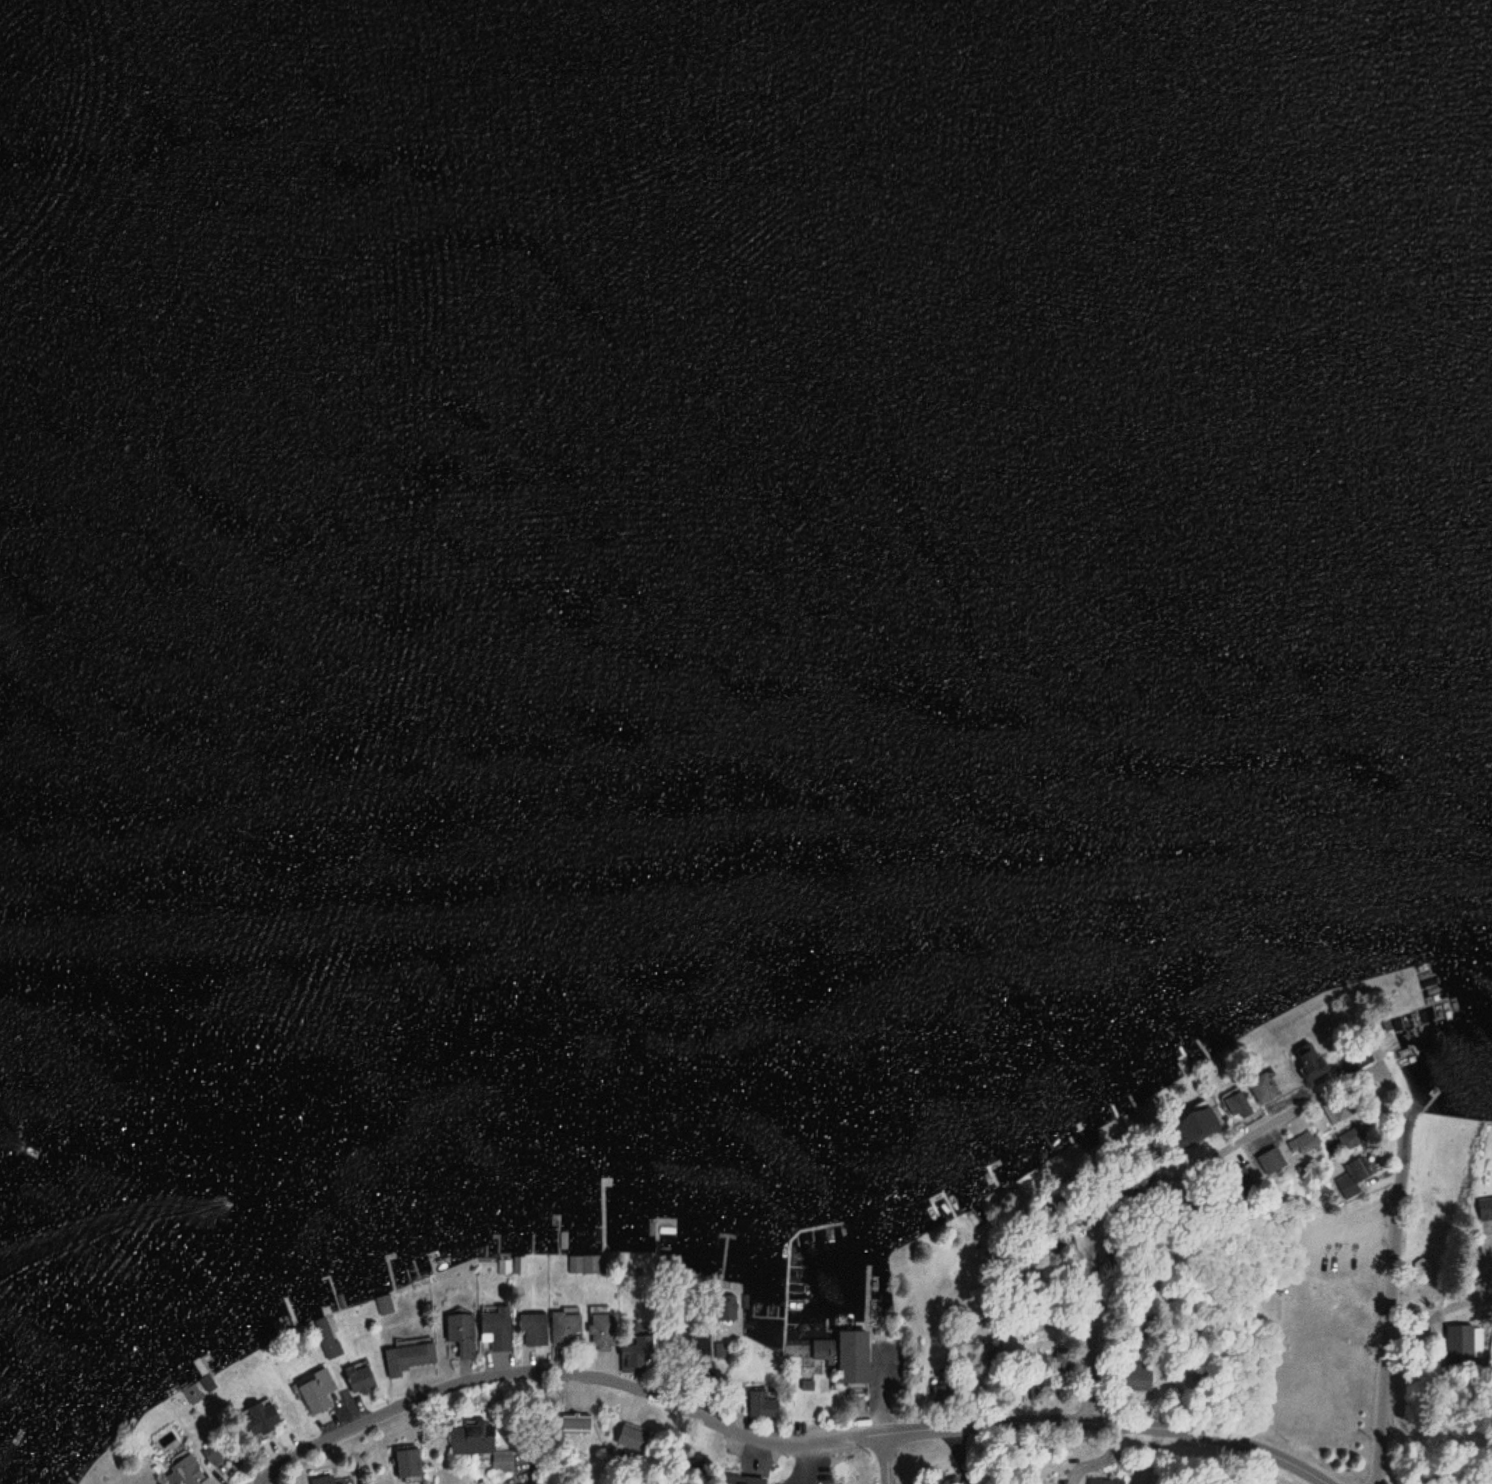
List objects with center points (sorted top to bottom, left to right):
river: (746, 143)
building: (1309, 1068)
building: (1261, 1089)
building: (1236, 1106)
building: (1337, 1111)
road: (1410, 1113)
road: (1257, 1128)
building: (1349, 1139)
building: (1300, 1144)
building: (1270, 1162)
building: (1351, 1178)
building: (1026, 1186)
building: (1484, 1208)
parking lot: (1347, 1233)
building: (584, 1265)
road: (1391, 1281)
building: (725, 1308)
road: (1089, 1309)
park: (1336, 1319)
building: (495, 1329)
building: (564, 1329)
building: (532, 1330)
building: (602, 1330)
building: (459, 1336)
building: (326, 1338)
building: (1464, 1343)
building: (822, 1350)
building: (634, 1357)
building: (408, 1358)
building: (850, 1358)
building: (1131, 1377)
building: (358, 1378)
building: (315, 1391)
building: (759, 1404)
building: (259, 1418)
building: (574, 1424)
building: (630, 1439)
building: (478, 1446)
road: (773, 1447)
building: (213, 1456)
road: (887, 1459)
building: (405, 1464)
building: (187, 1471)
road: (261, 1478)
building: (726, 1479)
building: (320, 1481)
building: (957, 1481)
building: (1105, 1481)
parking lot: (1276, 1483)

